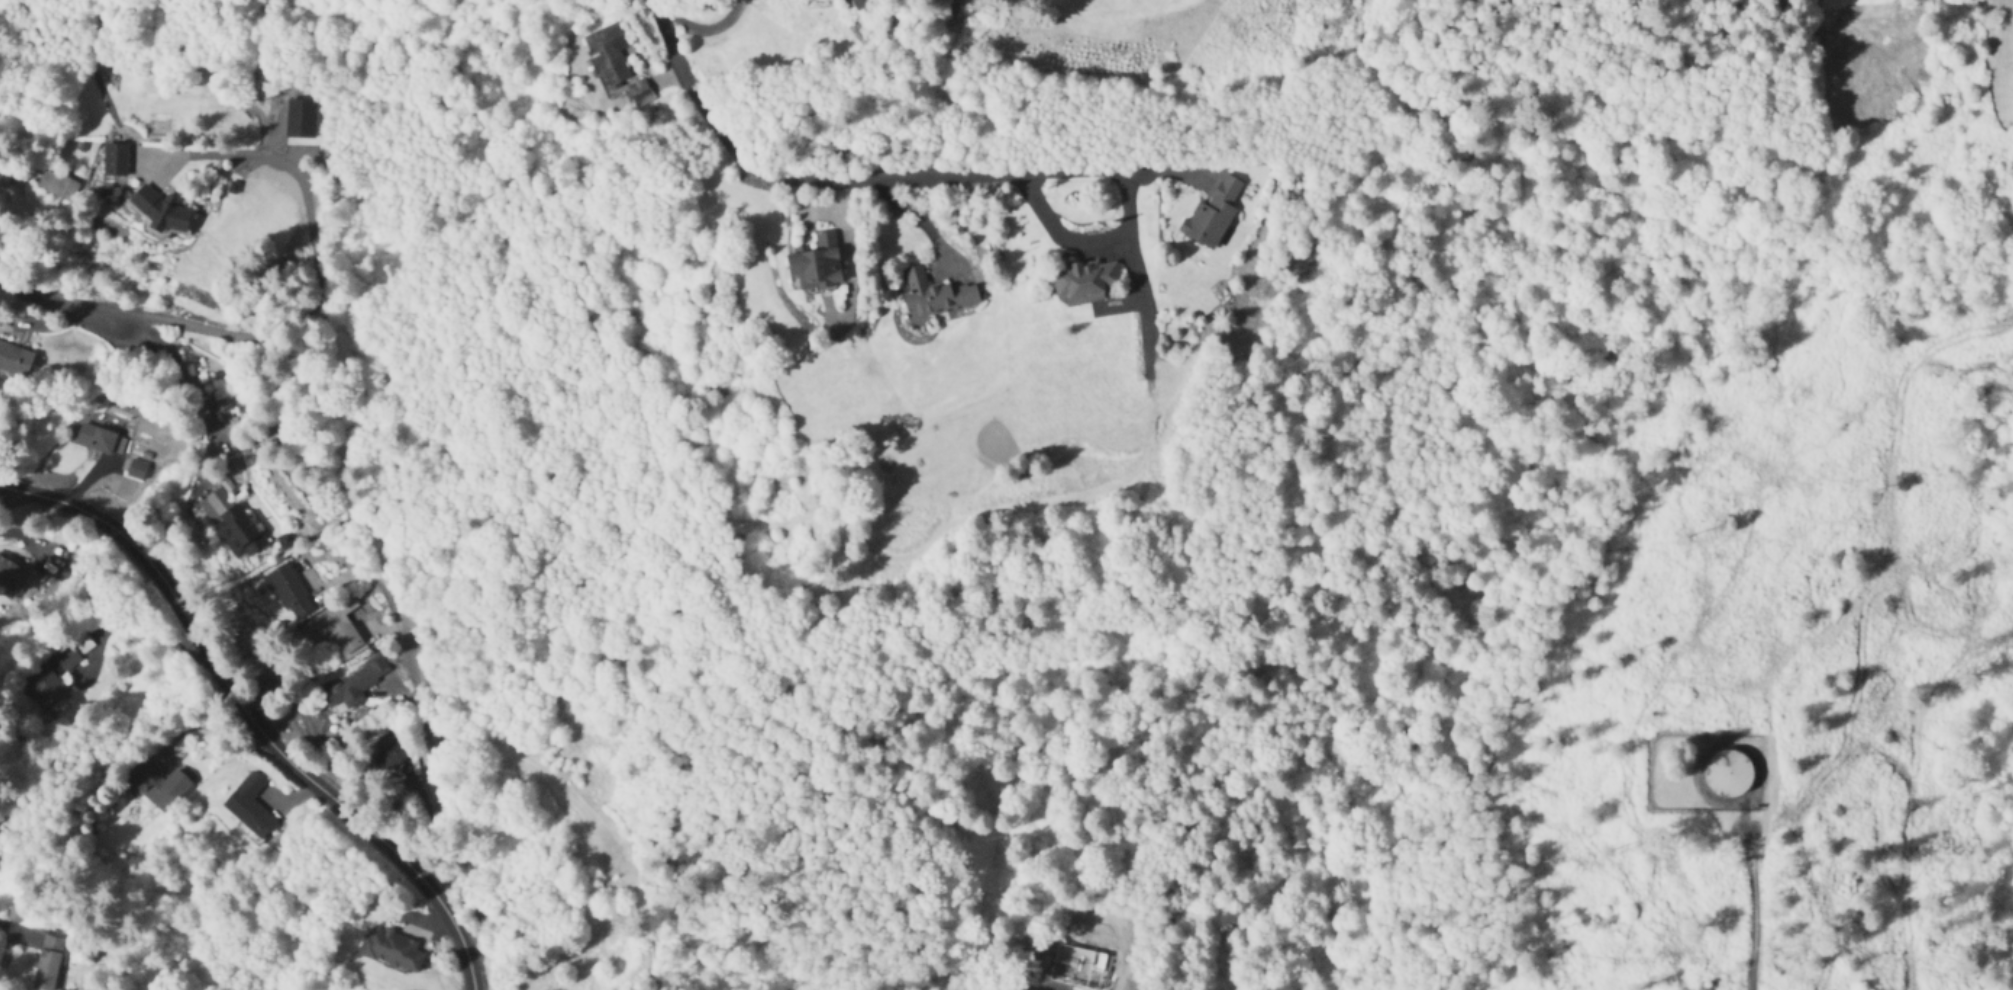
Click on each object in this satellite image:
building: (863, 5)
building: (608, 55)
building: (639, 93)
building: (116, 161)
road: (851, 182)
building: (57, 187)
building: (164, 214)
building: (1212, 216)
road: (1084, 245)
road: (317, 255)
building: (816, 265)
building: (1086, 279)
building: (936, 296)
road: (69, 302)
building: (15, 361)
road: (191, 385)
building: (100, 441)
building: (137, 470)
building: (239, 531)
road: (21, 536)
building: (13, 575)
building: (289, 592)
building: (333, 630)
building: (66, 658)
building: (354, 685)
building: (49, 691)
road: (254, 717)
road: (210, 727)
building: (390, 750)
building: (1729, 773)
road: (439, 782)
building: (157, 787)
building: (249, 806)
building: (14, 914)
road: (1752, 915)
road: (16, 928)
building: (391, 949)
building: (47, 962)

